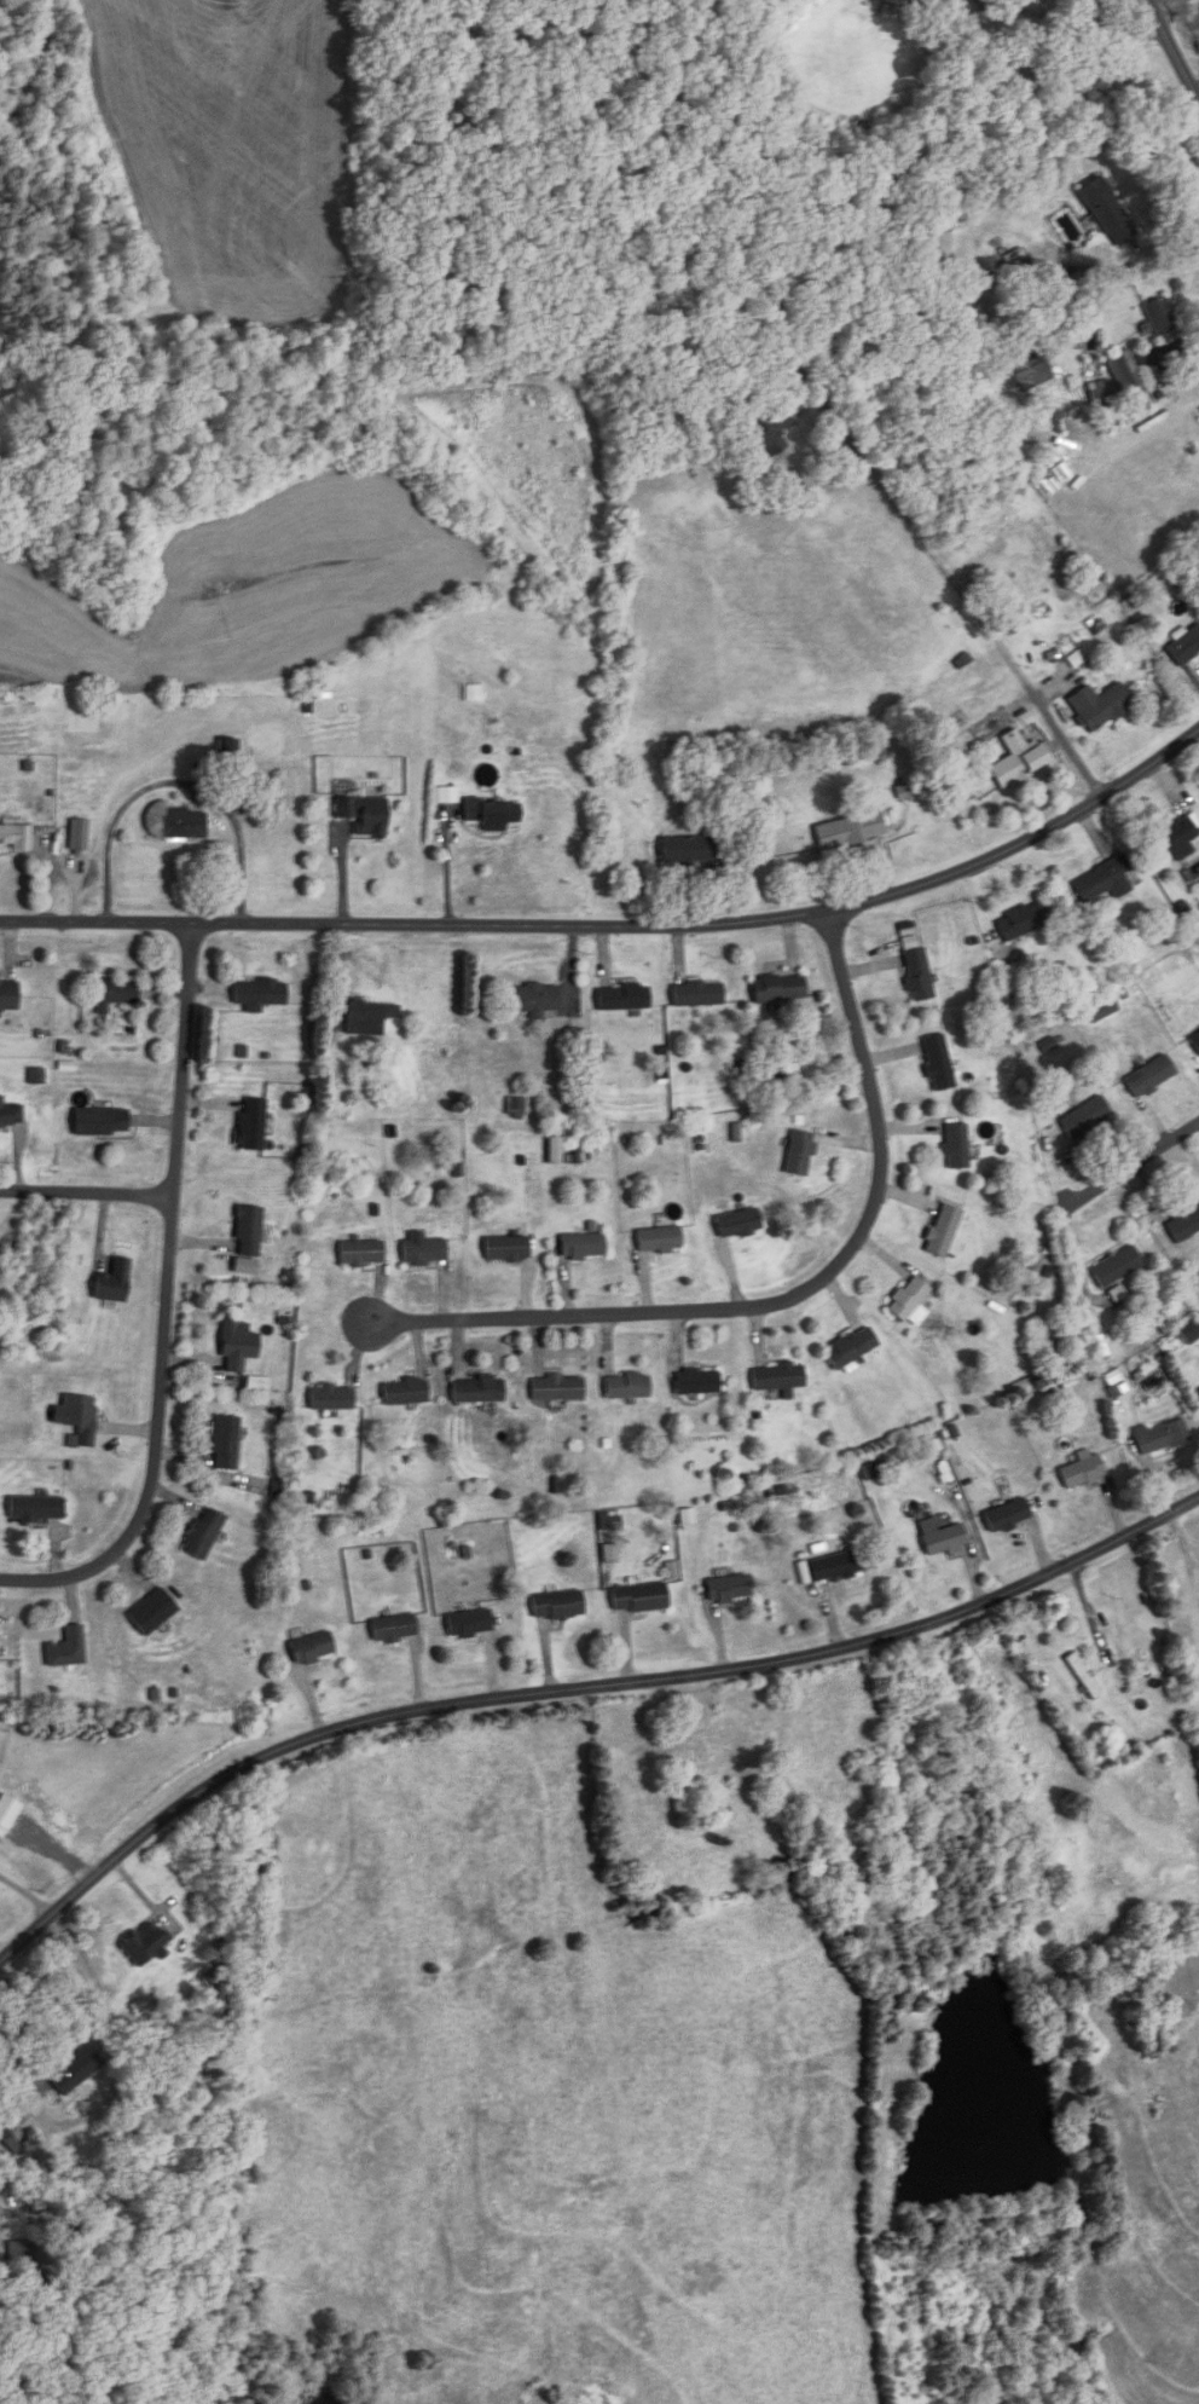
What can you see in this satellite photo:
road: (1168, 2)
road: (1197, 4)
road: (1073, 22)
road: (1172, 51)
road: (1198, 97)
building: (1106, 212)
road: (1169, 238)
building: (1159, 316)
road: (1164, 369)
building: (1124, 372)
building: (1101, 397)
building: (769, 434)
road: (954, 583)
building: (1183, 646)
building: (1097, 705)
building: (1016, 759)
building: (491, 814)
building: (361, 815)
building: (183, 824)
building: (848, 831)
building: (77, 836)
building: (15, 839)
building: (1172, 840)
building: (685, 849)
building: (1102, 880)
building: (1020, 921)
road: (621, 925)
building: (914, 970)
building: (777, 989)
building: (109, 993)
building: (256, 994)
building: (696, 994)
building: (7, 996)
building: (621, 998)
building: (532, 1000)
building: (1099, 1010)
building: (367, 1017)
building: (1194, 1044)
building: (936, 1063)
building: (1148, 1077)
building: (11, 1117)
building: (1085, 1117)
building: (98, 1122)
building: (249, 1125)
building: (954, 1148)
building: (798, 1154)
road: (1131, 1168)
road: (86, 1201)
building: (735, 1224)
building: (1183, 1225)
building: (247, 1231)
building: (942, 1231)
building: (656, 1241)
building: (580, 1247)
building: (504, 1249)
building: (359, 1253)
building: (423, 1253)
building: (1114, 1267)
building: (111, 1282)
road: (787, 1290)
building: (907, 1299)
road: (164, 1308)
building: (1189, 1331)
building: (236, 1343)
building: (848, 1350)
building: (776, 1377)
building: (694, 1382)
building: (625, 1387)
building: (555, 1389)
building: (1198, 1389)
building: (475, 1391)
building: (402, 1393)
building: (329, 1399)
building: (79, 1421)
building: (1159, 1437)
building: (224, 1444)
building: (1081, 1472)
building: (34, 1509)
building: (1004, 1515)
building: (201, 1536)
building: (943, 1541)
building: (834, 1566)
building: (725, 1588)
building: (636, 1597)
building: (555, 1605)
building: (150, 1613)
building: (465, 1624)
building: (390, 1628)
building: (311, 1647)
building: (65, 1648)
building: (1083, 1676)
road: (577, 1687)
road: (25, 1890)
building: (141, 1942)
building: (73, 2069)
building: (0, 2213)
building: (21, 2263)

